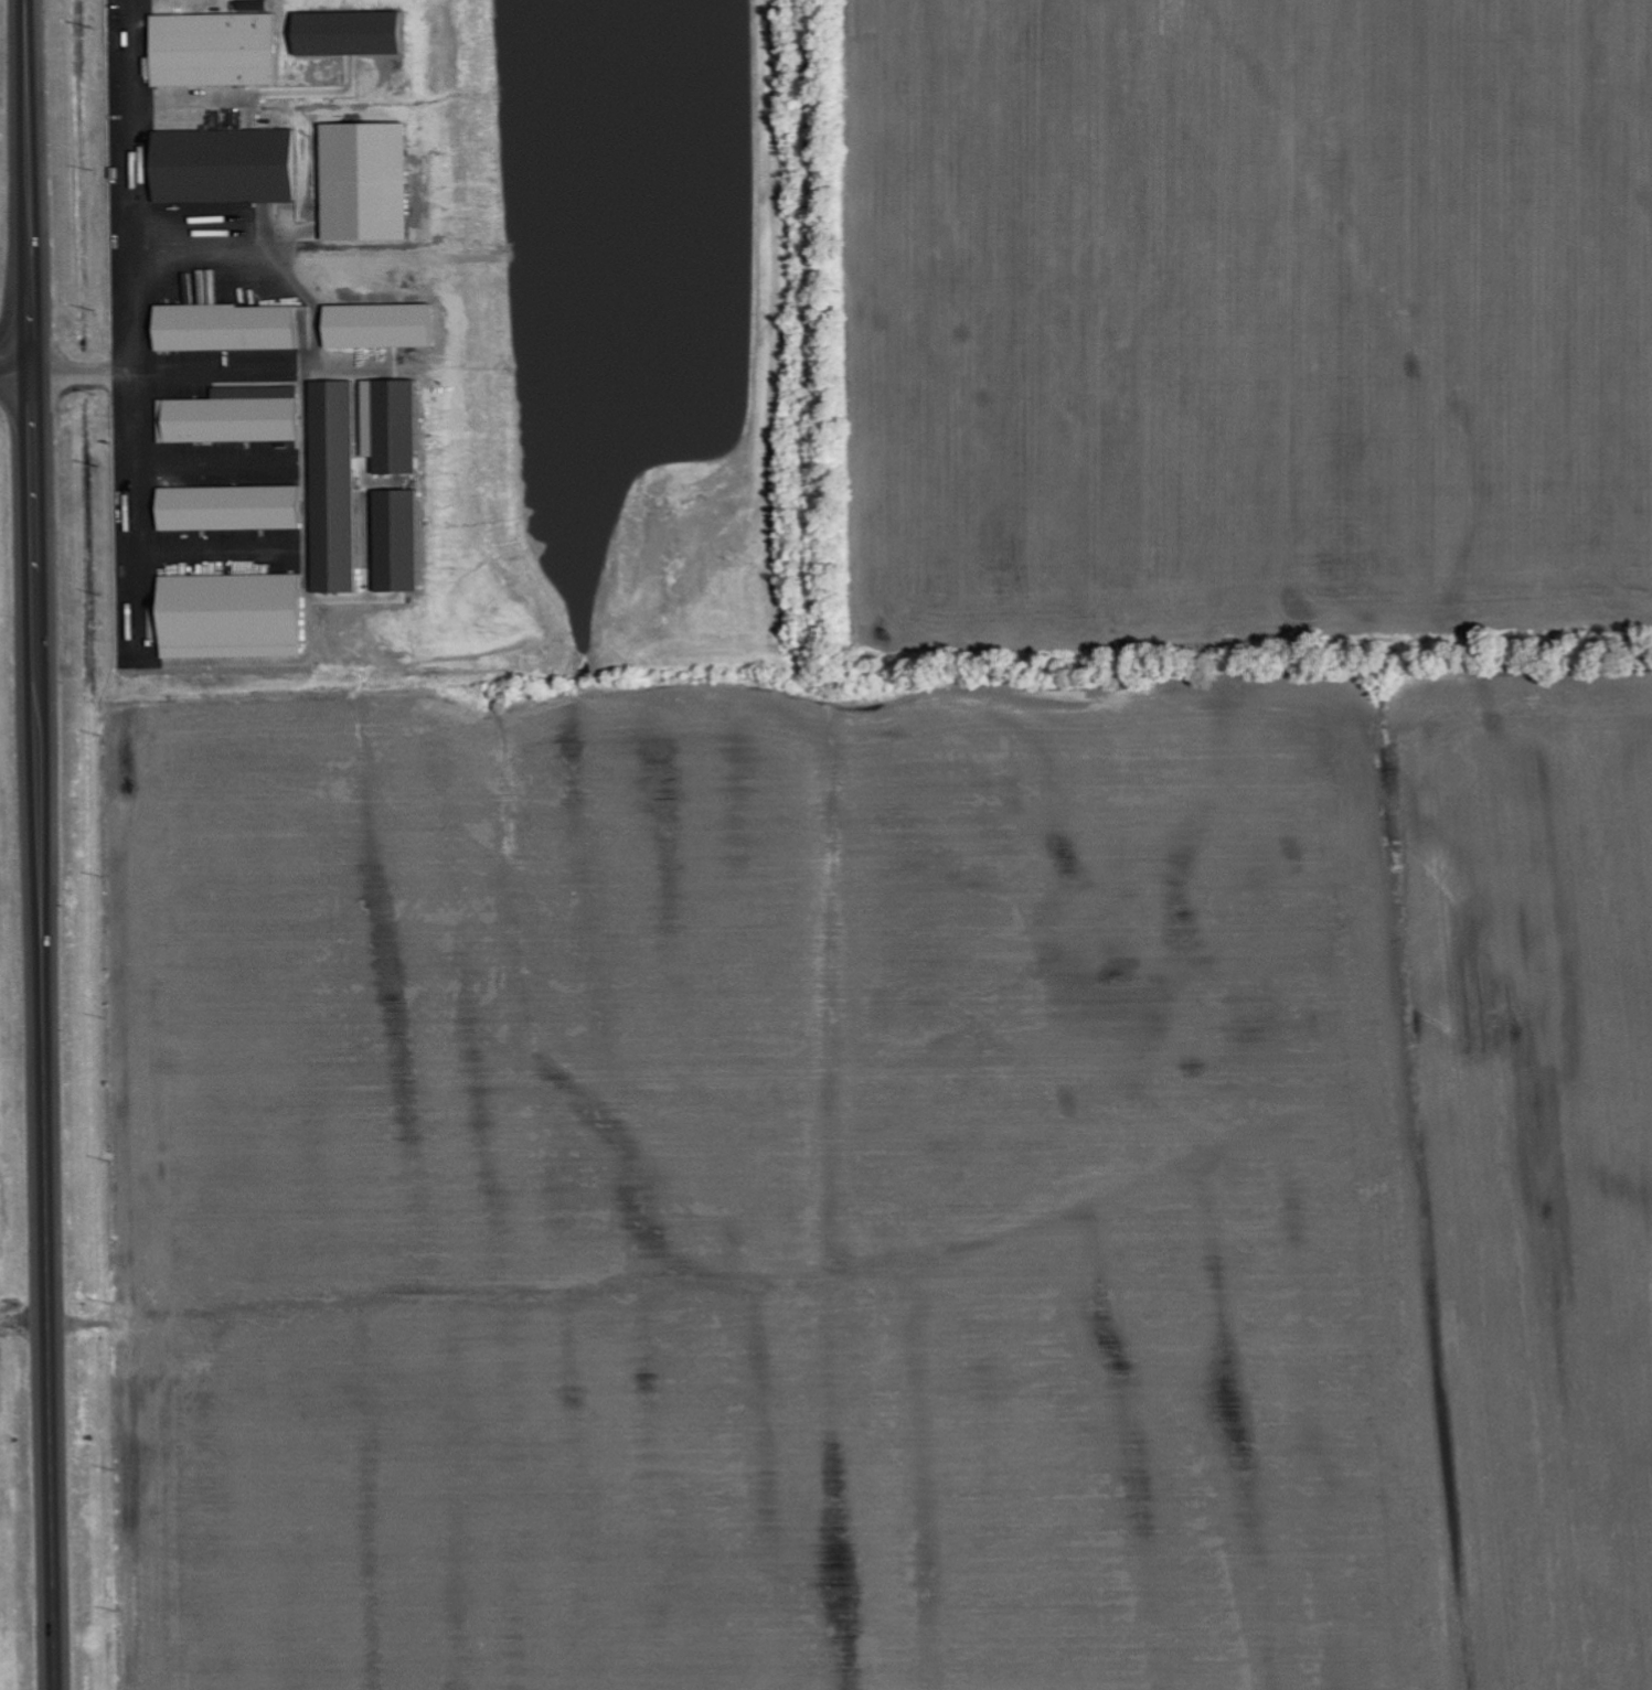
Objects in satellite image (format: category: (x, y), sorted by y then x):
building: (253, 6)
building: (213, 50)
building: (222, 167)
building: (224, 328)
road: (17, 367)
building: (234, 416)
building: (395, 427)
building: (365, 464)
building: (228, 509)
building: (335, 578)
building: (397, 578)
building: (228, 617)
road: (41, 845)

